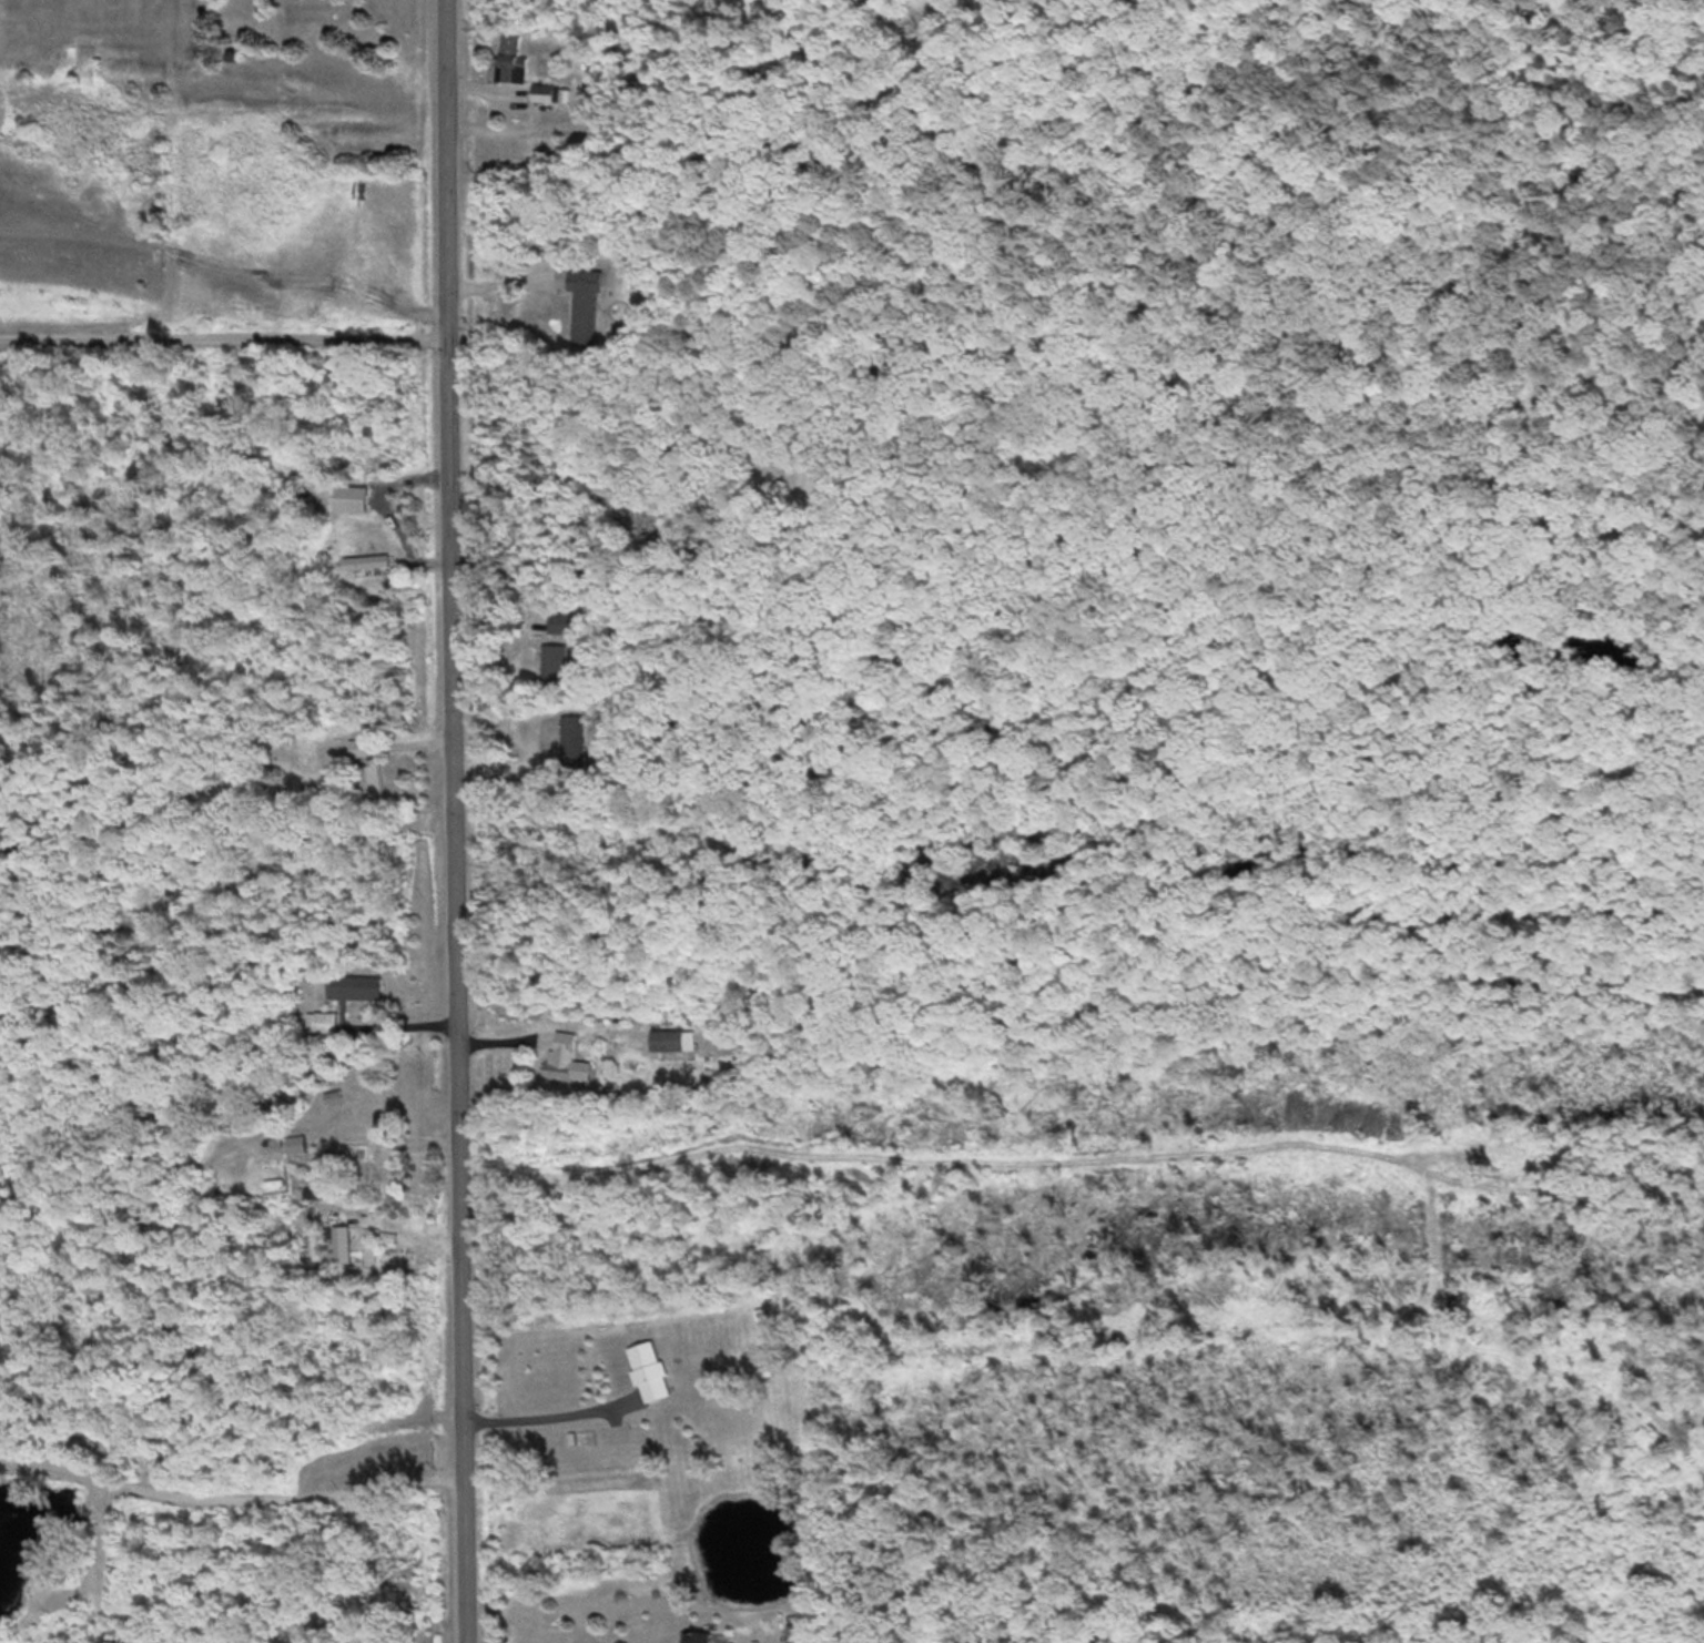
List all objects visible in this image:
building: (514, 57)
building: (547, 91)
building: (588, 305)
building: (371, 559)
building: (564, 621)
building: (557, 661)
building: (576, 741)
building: (357, 747)
road: (452, 821)
building: (356, 986)
building: (324, 1022)
building: (674, 1038)
building: (569, 1058)
building: (335, 1099)
building: (341, 1245)
building: (652, 1370)
road: (541, 1413)
building: (701, 1636)

